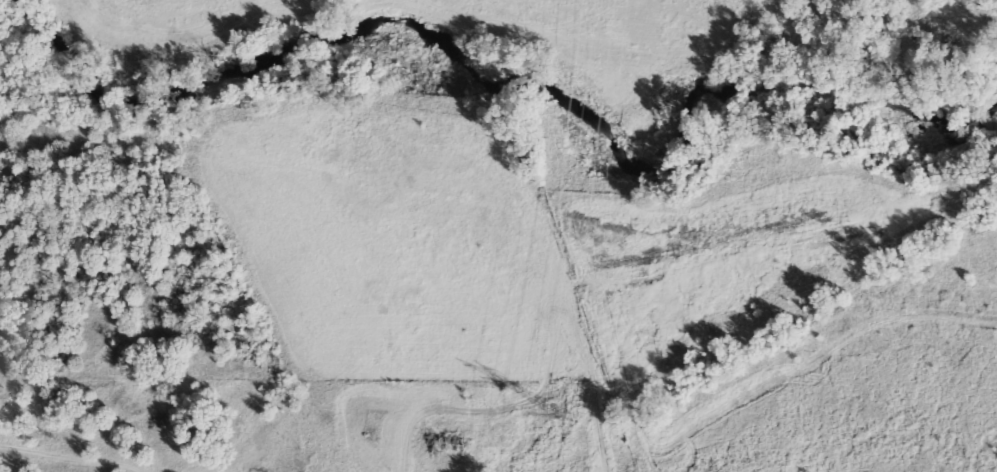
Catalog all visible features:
power tower: (562, 418)

